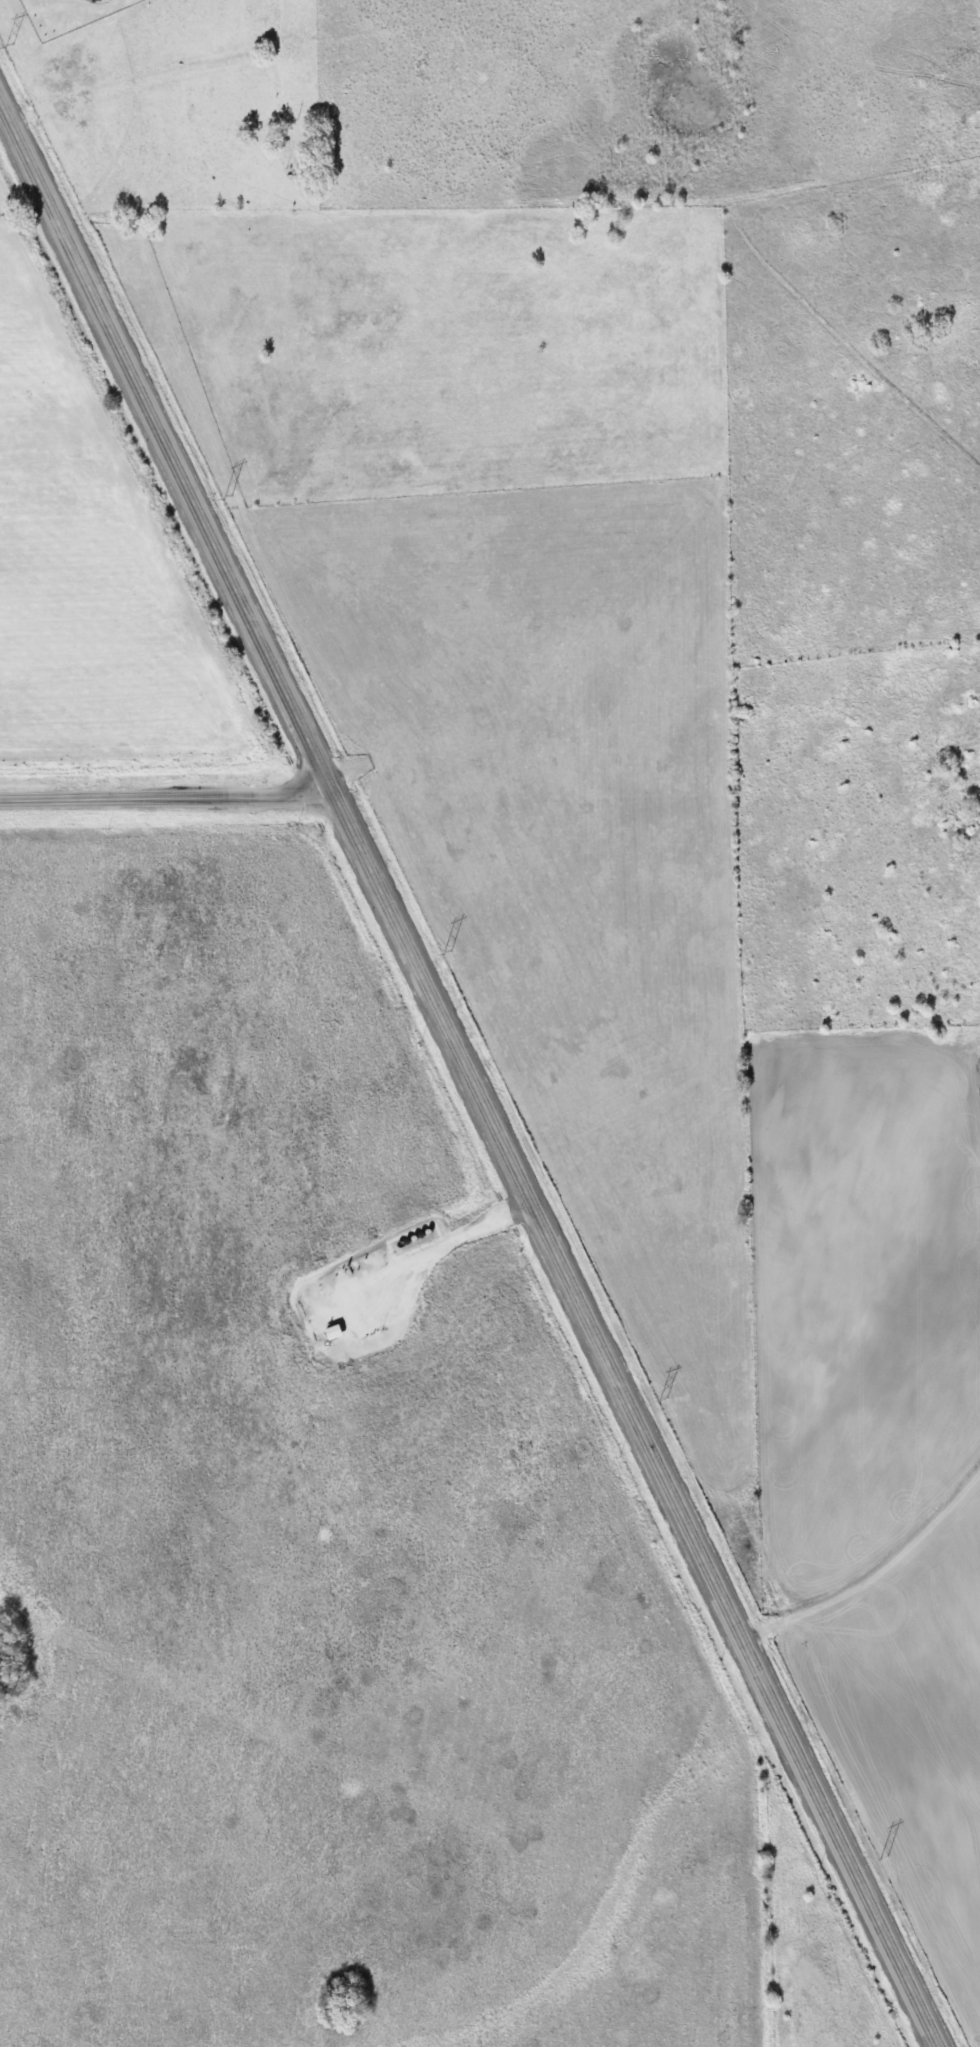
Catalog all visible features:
power tower: (7, 46)
power tower: (226, 497)
road: (167, 799)
power tower: (446, 952)
road: (468, 1076)
road: (443, 1246)
building: (326, 1333)
power tower: (662, 1399)
power tower: (883, 1857)

